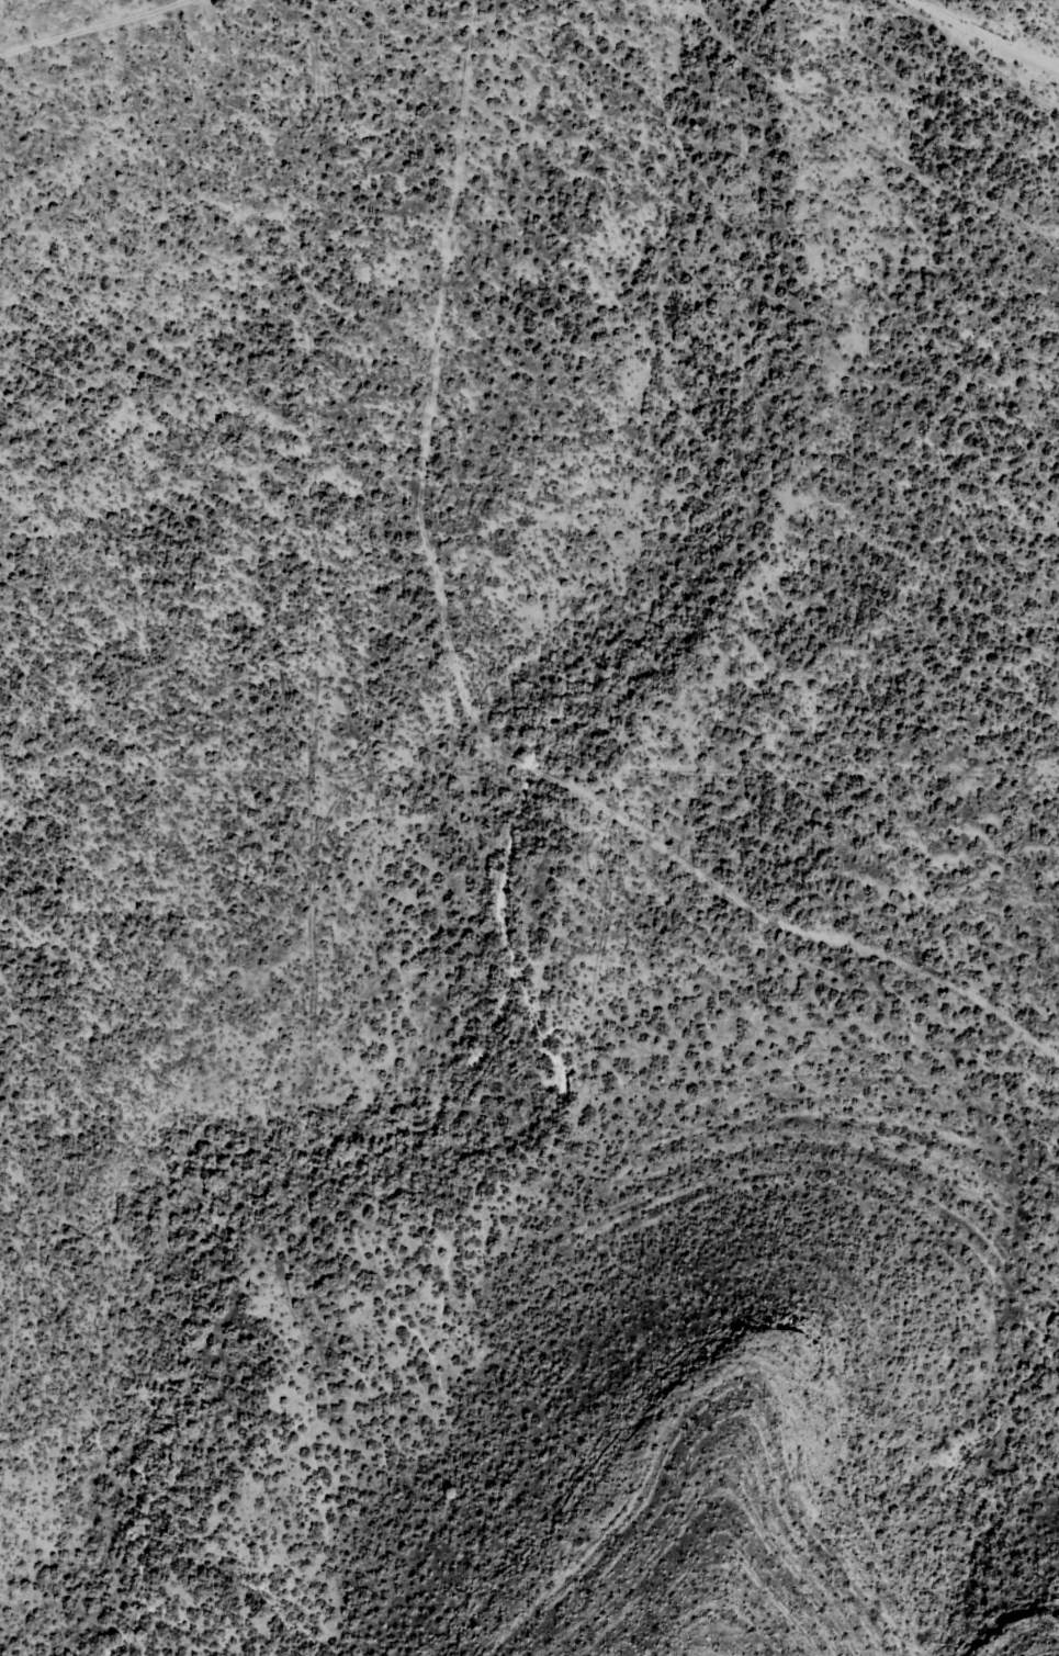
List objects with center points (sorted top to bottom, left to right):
road: (128, 32)
road: (942, 49)

